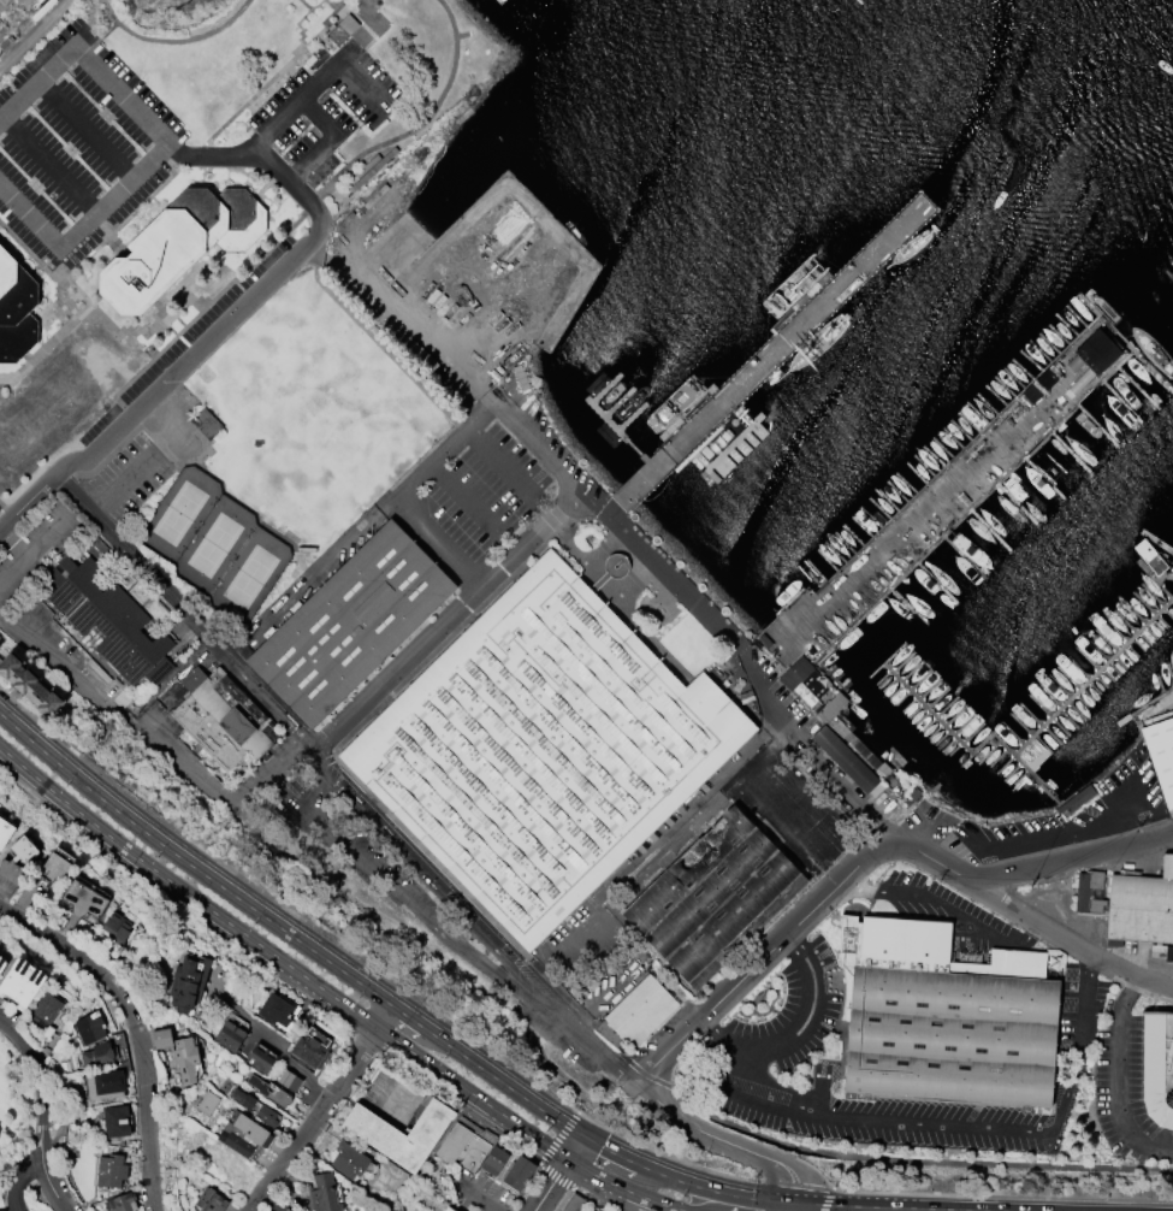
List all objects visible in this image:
building: (18, 0)
road: (331, 1)
building: (4, 4)
road: (304, 4)
road: (325, 25)
road: (29, 28)
building: (337, 34)
road: (99, 37)
road: (371, 39)
road: (173, 40)
road: (342, 65)
road: (262, 85)
road: (315, 111)
parking lot: (324, 114)
road: (419, 123)
road: (84, 129)
road: (166, 141)
parking lot: (77, 143)
road: (206, 153)
road: (48, 164)
building: (179, 243)
road: (312, 253)
road: (69, 254)
road: (77, 291)
building: (16, 311)
road: (45, 343)
road: (203, 343)
road: (380, 345)
building: (1096, 350)
pier: (771, 352)
pier: (604, 390)
pier: (617, 404)
pier: (632, 418)
building: (205, 424)
pier: (615, 430)
road: (539, 441)
park: (266, 450)
road: (508, 472)
parking lot: (125, 478)
road: (119, 485)
road: (399, 491)
parking lot: (475, 498)
road: (565, 502)
road: (474, 506)
pier: (931, 509)
park: (178, 512)
road: (12, 540)
park: (213, 543)
road: (32, 544)
building: (615, 563)
road: (660, 569)
park: (249, 575)
road: (611, 601)
road: (188, 607)
road: (182, 613)
building: (107, 619)
building: (349, 622)
road: (432, 634)
road: (49, 667)
building: (801, 679)
building: (28, 684)
railway: (113, 697)
pier: (1068, 697)
building: (221, 716)
building: (848, 732)
pier: (949, 732)
road: (306, 737)
building: (541, 748)
road: (808, 755)
building: (1160, 755)
building: (843, 757)
road: (324, 760)
road: (321, 761)
road: (332, 768)
road: (215, 797)
road: (295, 805)
road: (1086, 820)
road: (140, 828)
building: (5, 829)
road: (917, 832)
building: (22, 847)
road: (864, 857)
building: (54, 864)
road: (429, 876)
road: (393, 888)
road: (185, 892)
building: (716, 896)
building: (83, 898)
building: (1128, 900)
road: (943, 903)
road: (478, 912)
building: (115, 926)
road: (1059, 935)
road: (568, 946)
building: (1, 962)
road: (340, 969)
building: (20, 981)
building: (186, 981)
railway: (531, 1000)
road: (600, 1000)
building: (42, 1009)
building: (273, 1009)
building: (639, 1009)
road: (551, 1016)
building: (943, 1016)
road: (385, 1017)
parking lot: (783, 1018)
building: (88, 1026)
road: (423, 1027)
road: (132, 1029)
road: (794, 1032)
building: (227, 1034)
building: (161, 1036)
road: (538, 1042)
building: (309, 1046)
road: (278, 1047)
building: (96, 1053)
building: (184, 1058)
building: (259, 1058)
building: (1157, 1067)
road: (445, 1074)
building: (286, 1077)
road: (1118, 1077)
parking lot: (1135, 1080)
road: (663, 1082)
building: (103, 1083)
building: (267, 1089)
road: (586, 1092)
road: (516, 1093)
road: (819, 1097)
building: (206, 1100)
building: (254, 1105)
road: (664, 1107)
road: (41, 1112)
road: (312, 1118)
building: (114, 1120)
road: (961, 1124)
building: (251, 1129)
building: (398, 1132)
road: (558, 1136)
traffic signals: (582, 1136)
road: (642, 1136)
road: (873, 1138)
building: (233, 1139)
road: (539, 1139)
road: (754, 1140)
building: (464, 1144)
road: (961, 1144)
road: (1023, 1146)
road: (575, 1147)
road: (621, 1156)
road: (646, 1157)
traffic signals: (568, 1158)
building: (346, 1159)
building: (493, 1159)
road: (919, 1159)
road: (581, 1166)
building: (109, 1169)
building: (517, 1171)
road: (20, 1177)
traffic signals: (796, 1181)
road: (550, 1185)
building: (322, 1193)
road: (610, 1193)
road: (635, 1193)
road: (729, 1194)
road: (1001, 1195)
road: (478, 1198)
road: (825, 1199)
building: (209, 1200)
building: (119, 1201)
building: (573, 1203)
road: (811, 1203)
traffic signals: (829, 1204)
road: (870, 1205)
building: (448, 1209)
road: (990, 1209)
building: (286, 1210)
building: (590, 1210)
building: (596, 1210)
road: (679, 1210)
road: (683, 1210)

